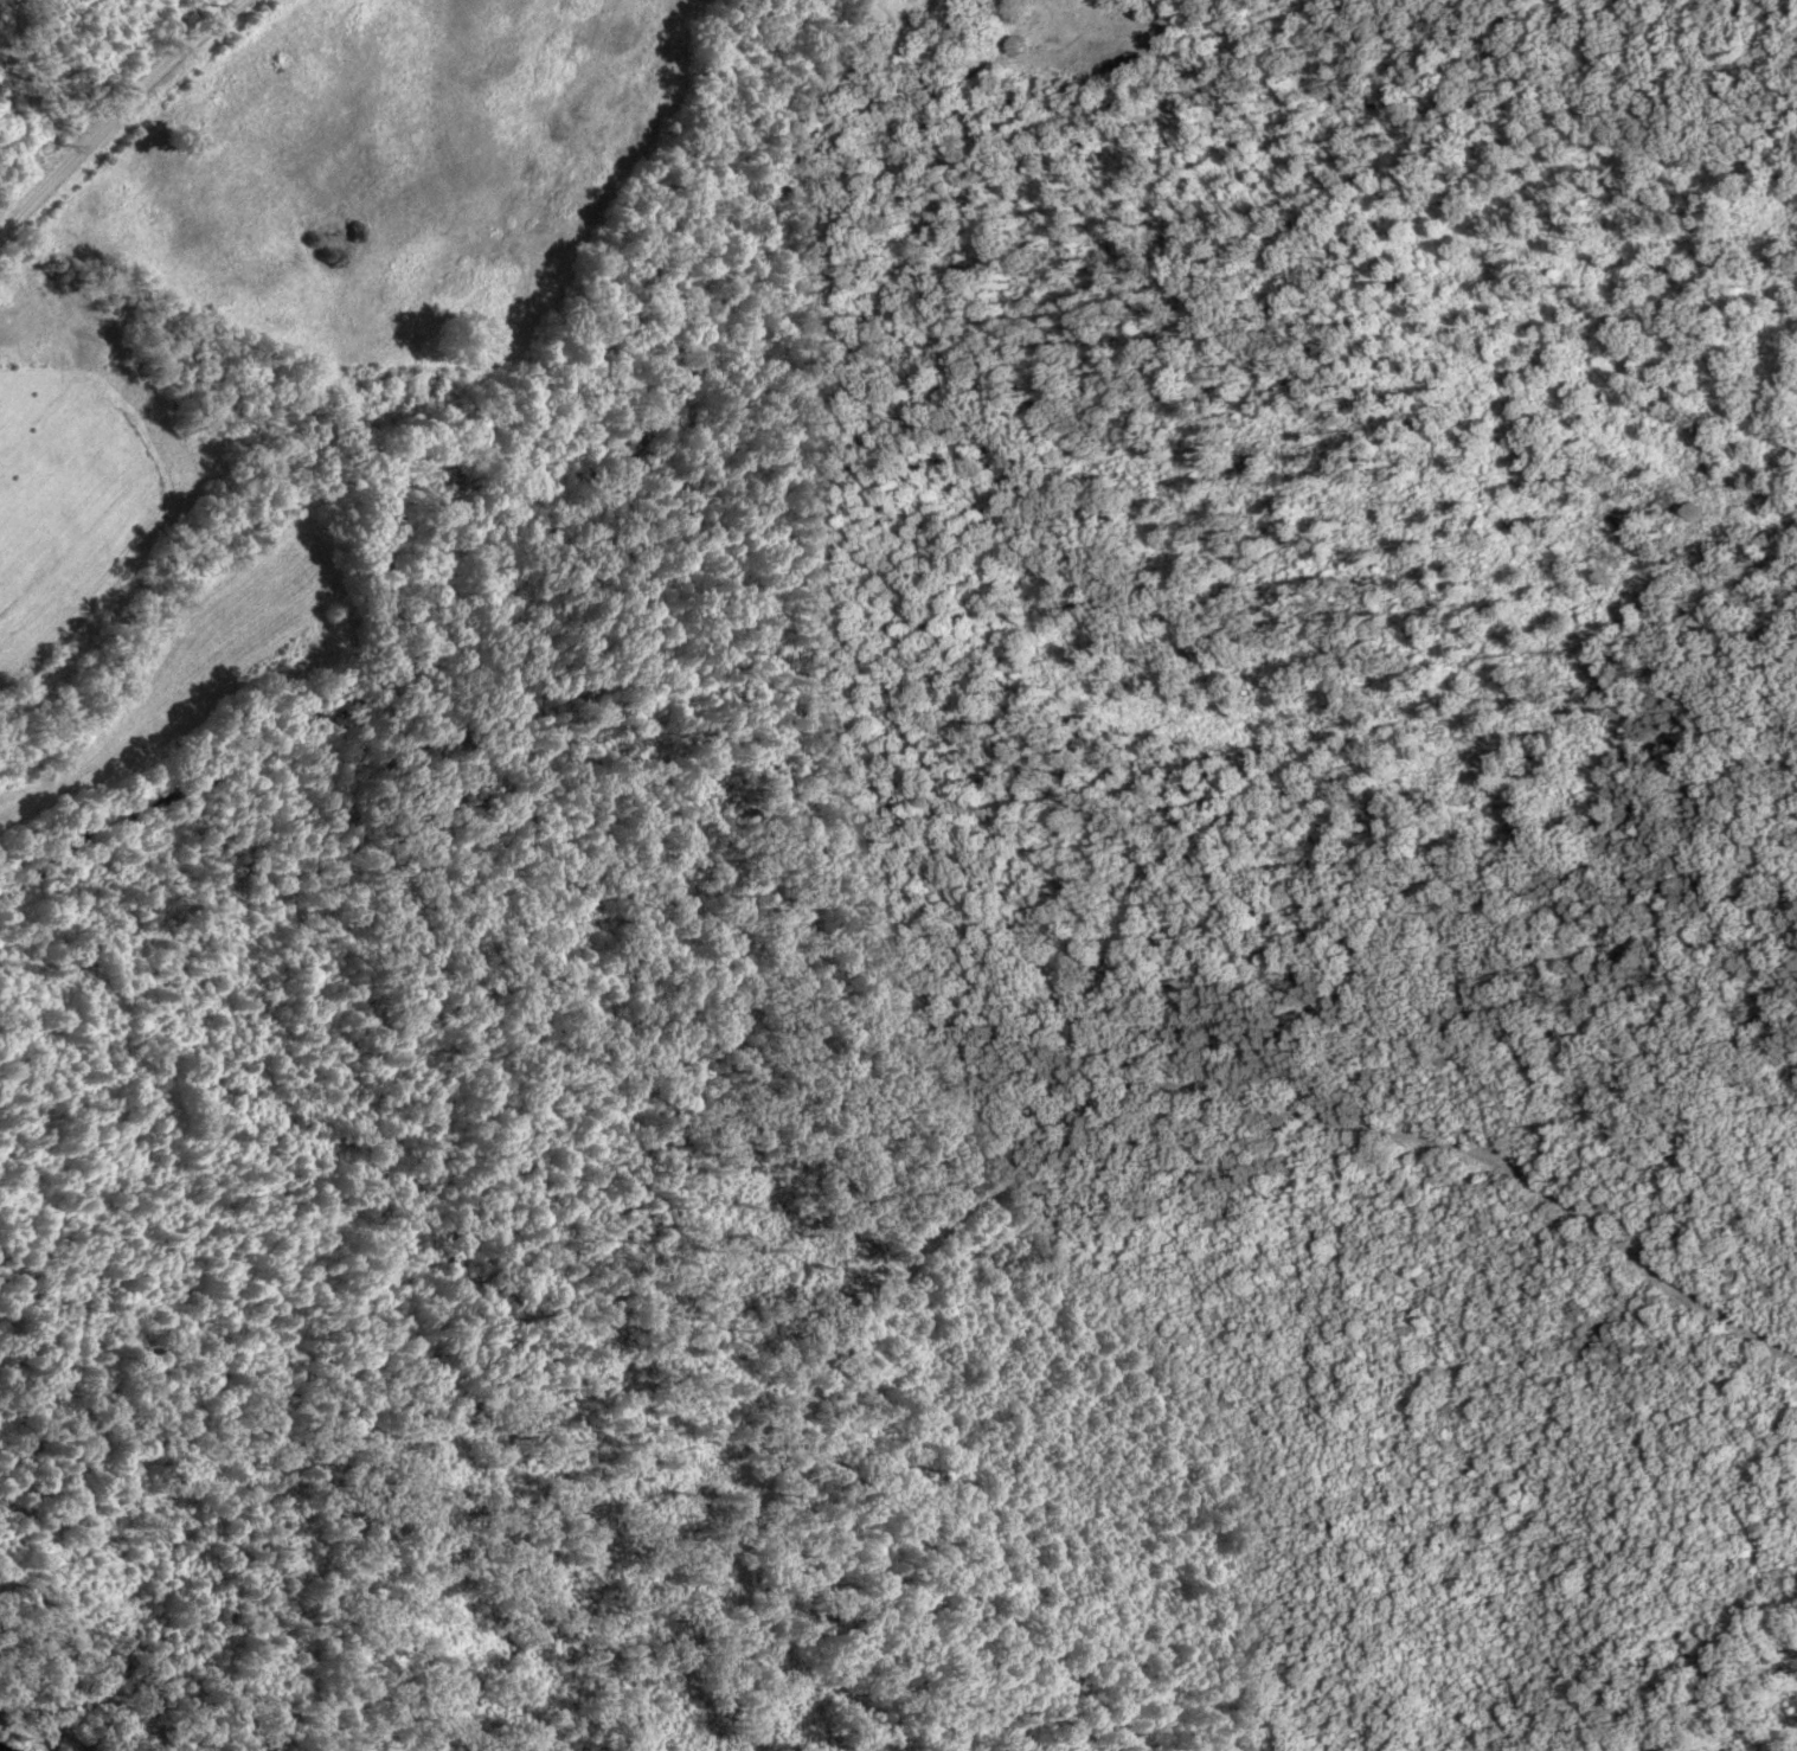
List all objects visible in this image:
road: (118, 111)
road: (1092, 1109)

